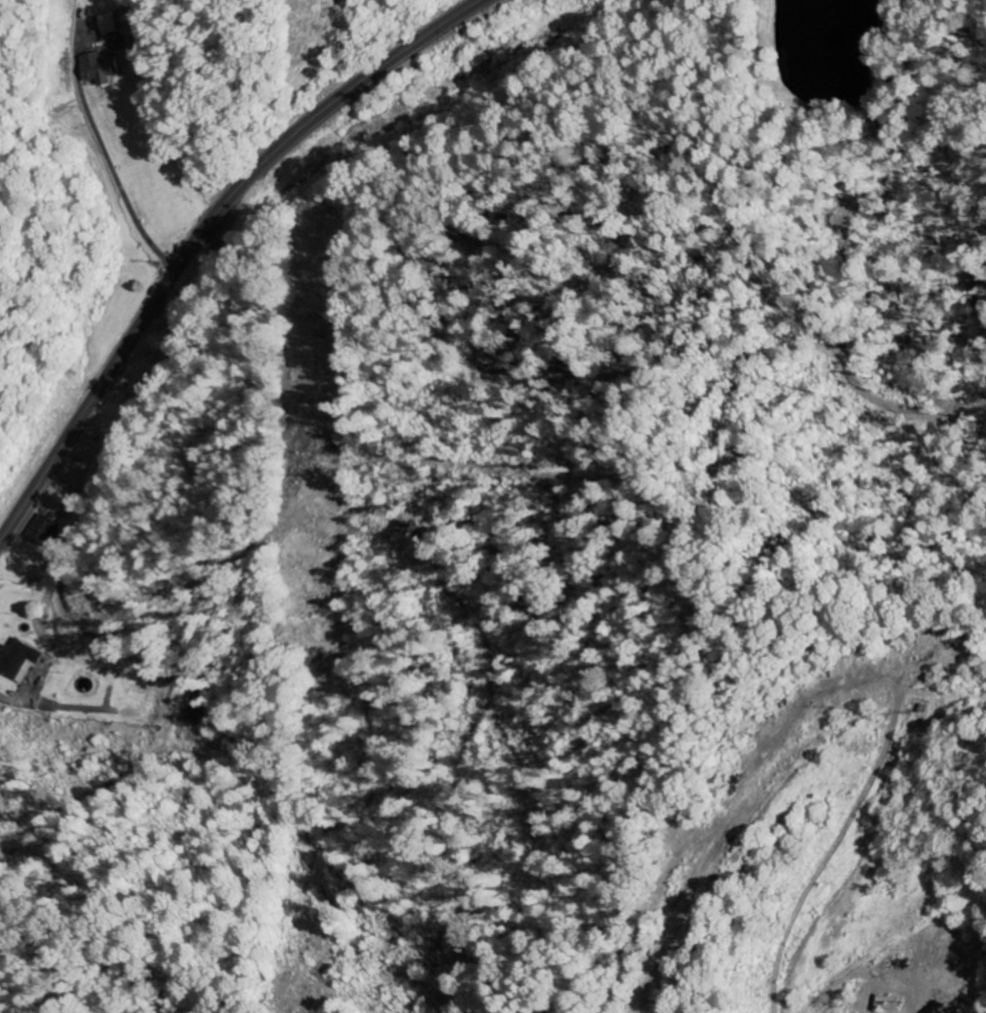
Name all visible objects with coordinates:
building: (113, 23)
building: (101, 69)
road: (201, 234)
power tower: (306, 480)
building: (44, 530)
building: (22, 660)

